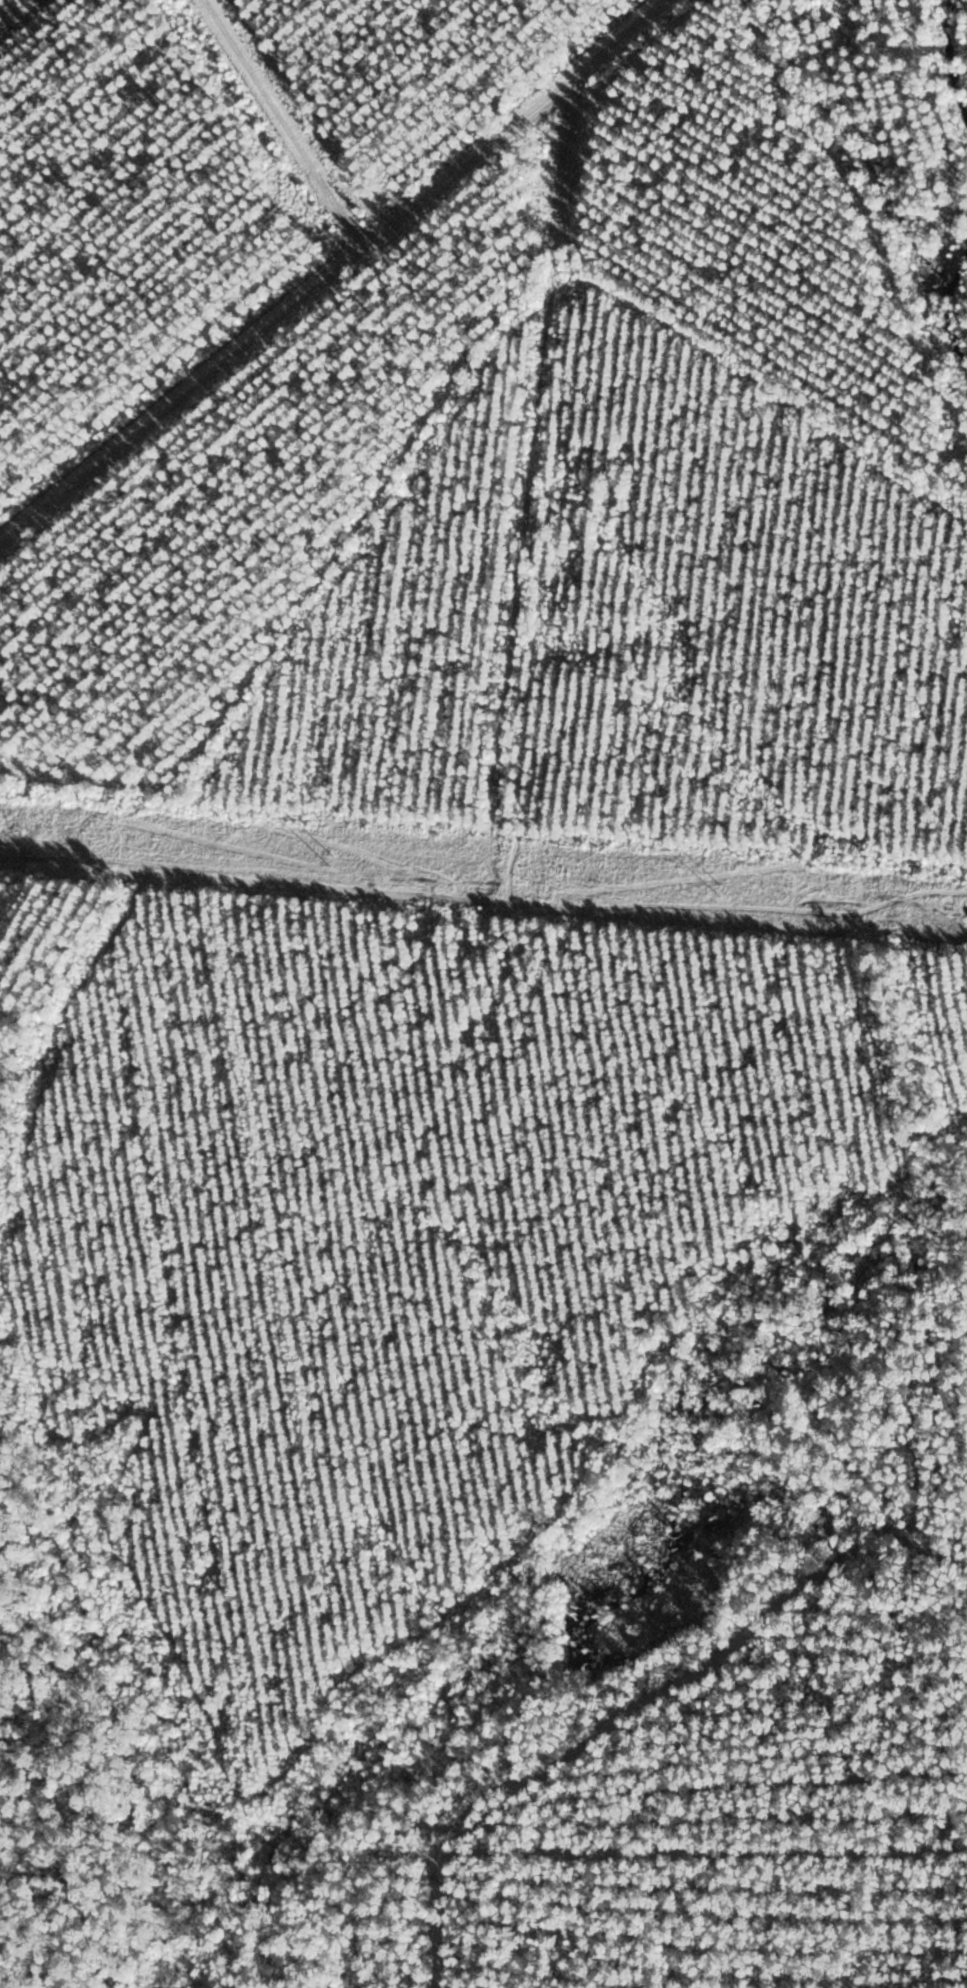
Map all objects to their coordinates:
road: (336, 269)
road: (517, 559)
power tower: (329, 855)
power tower: (717, 883)

